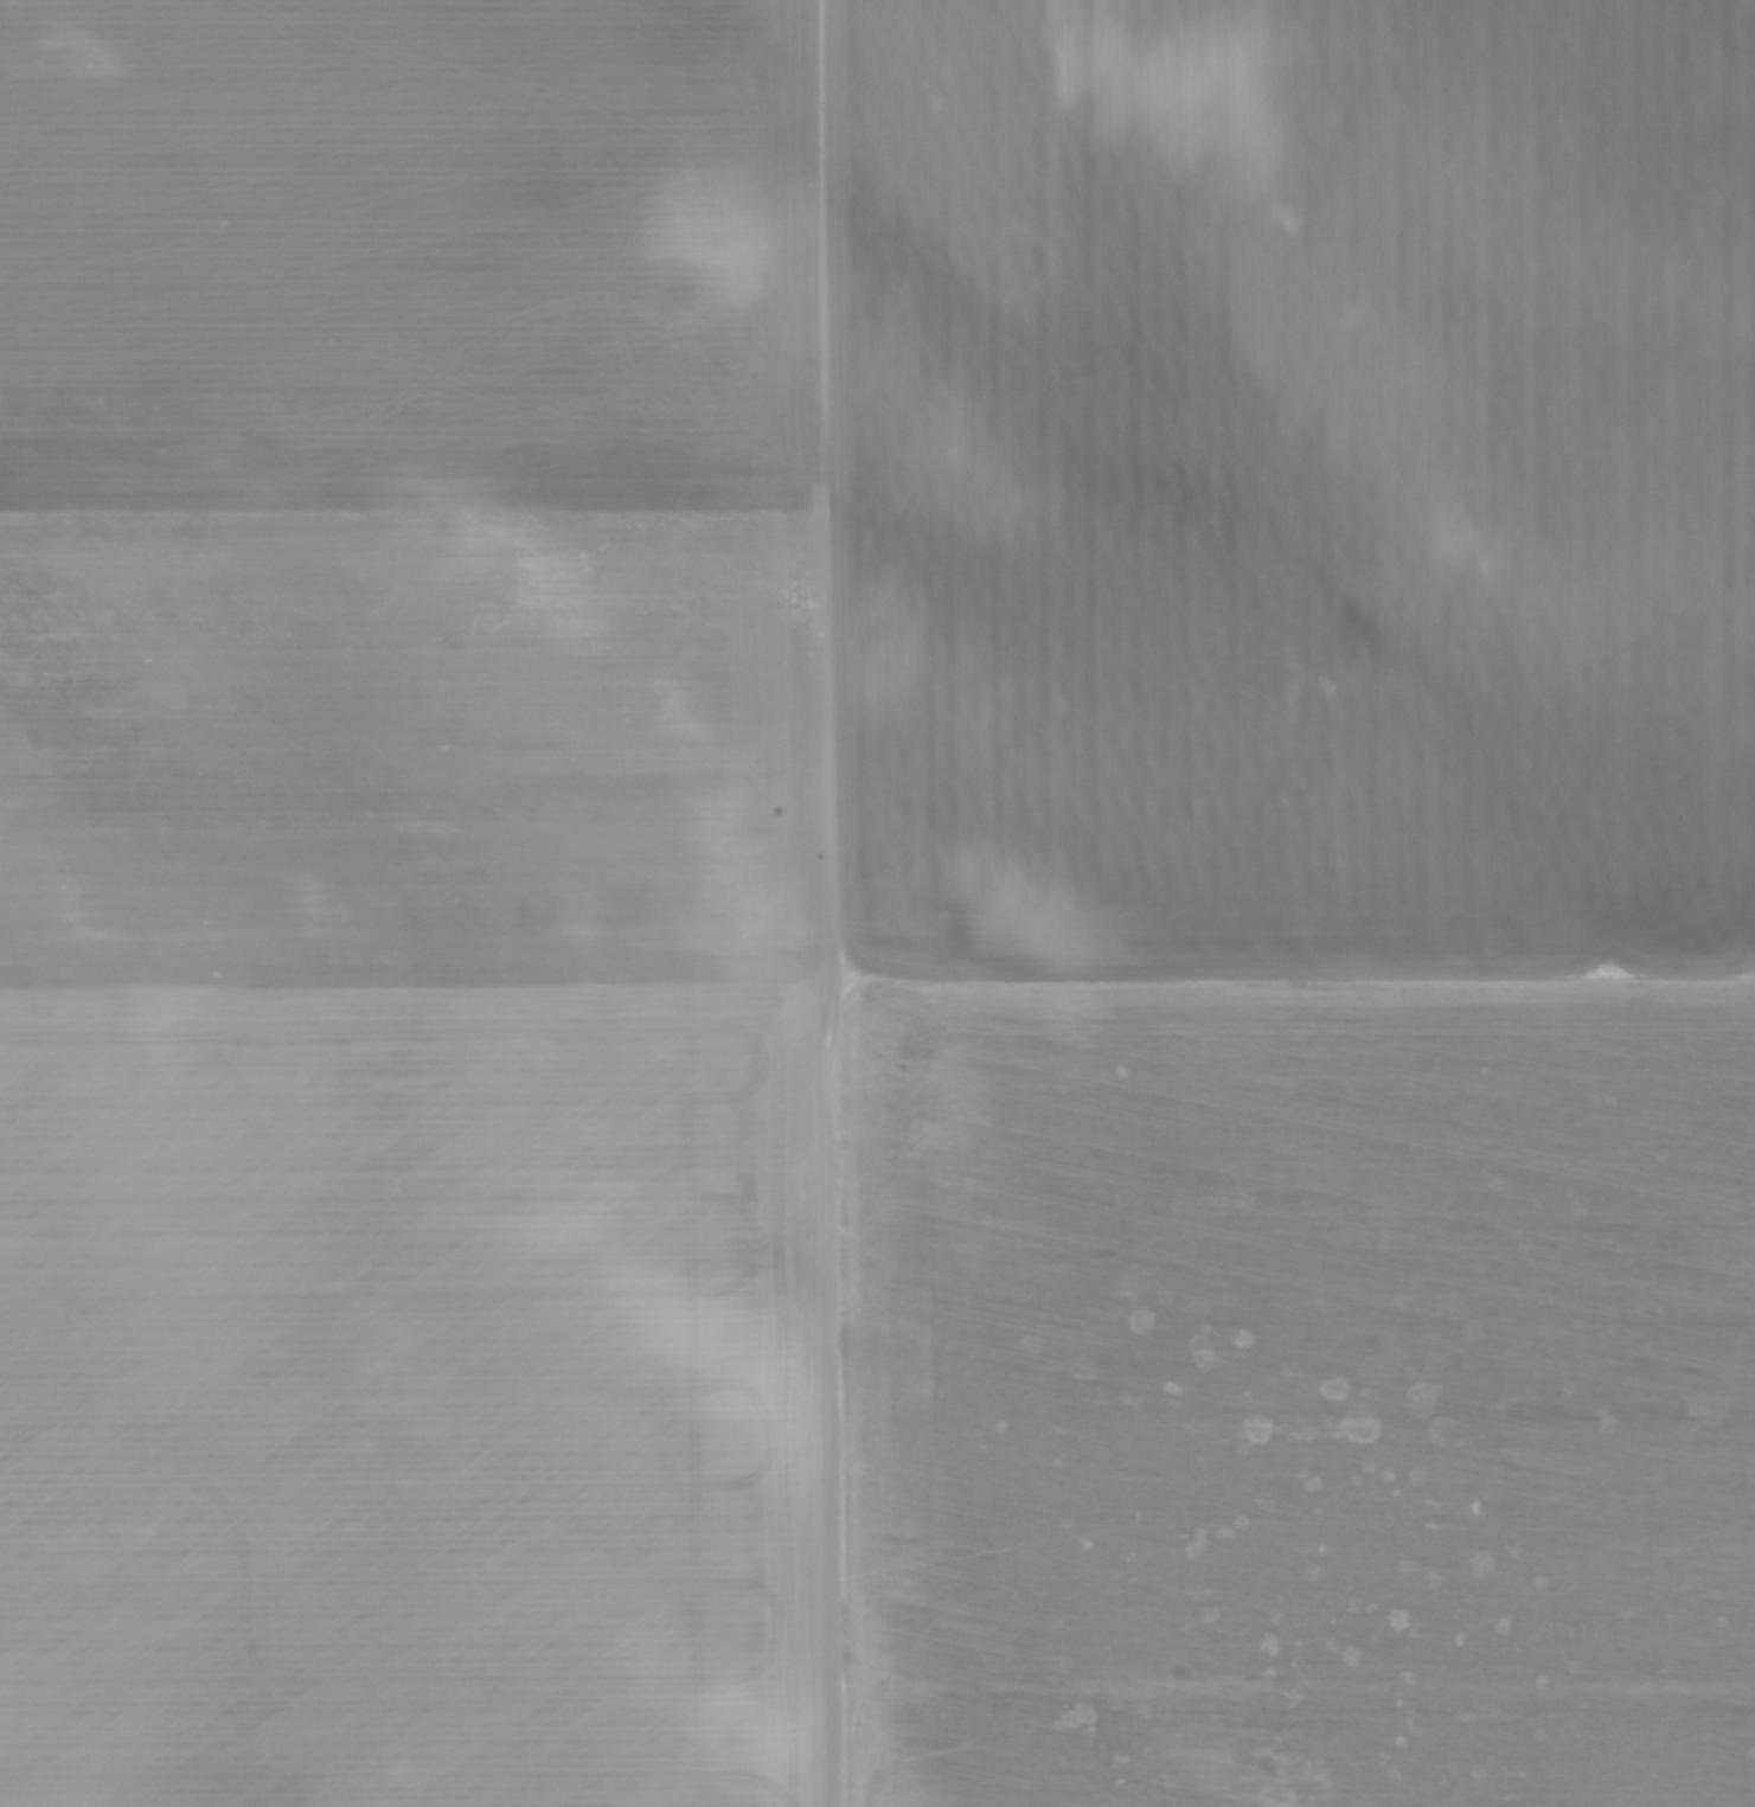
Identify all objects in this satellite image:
crop: (877, 903)

